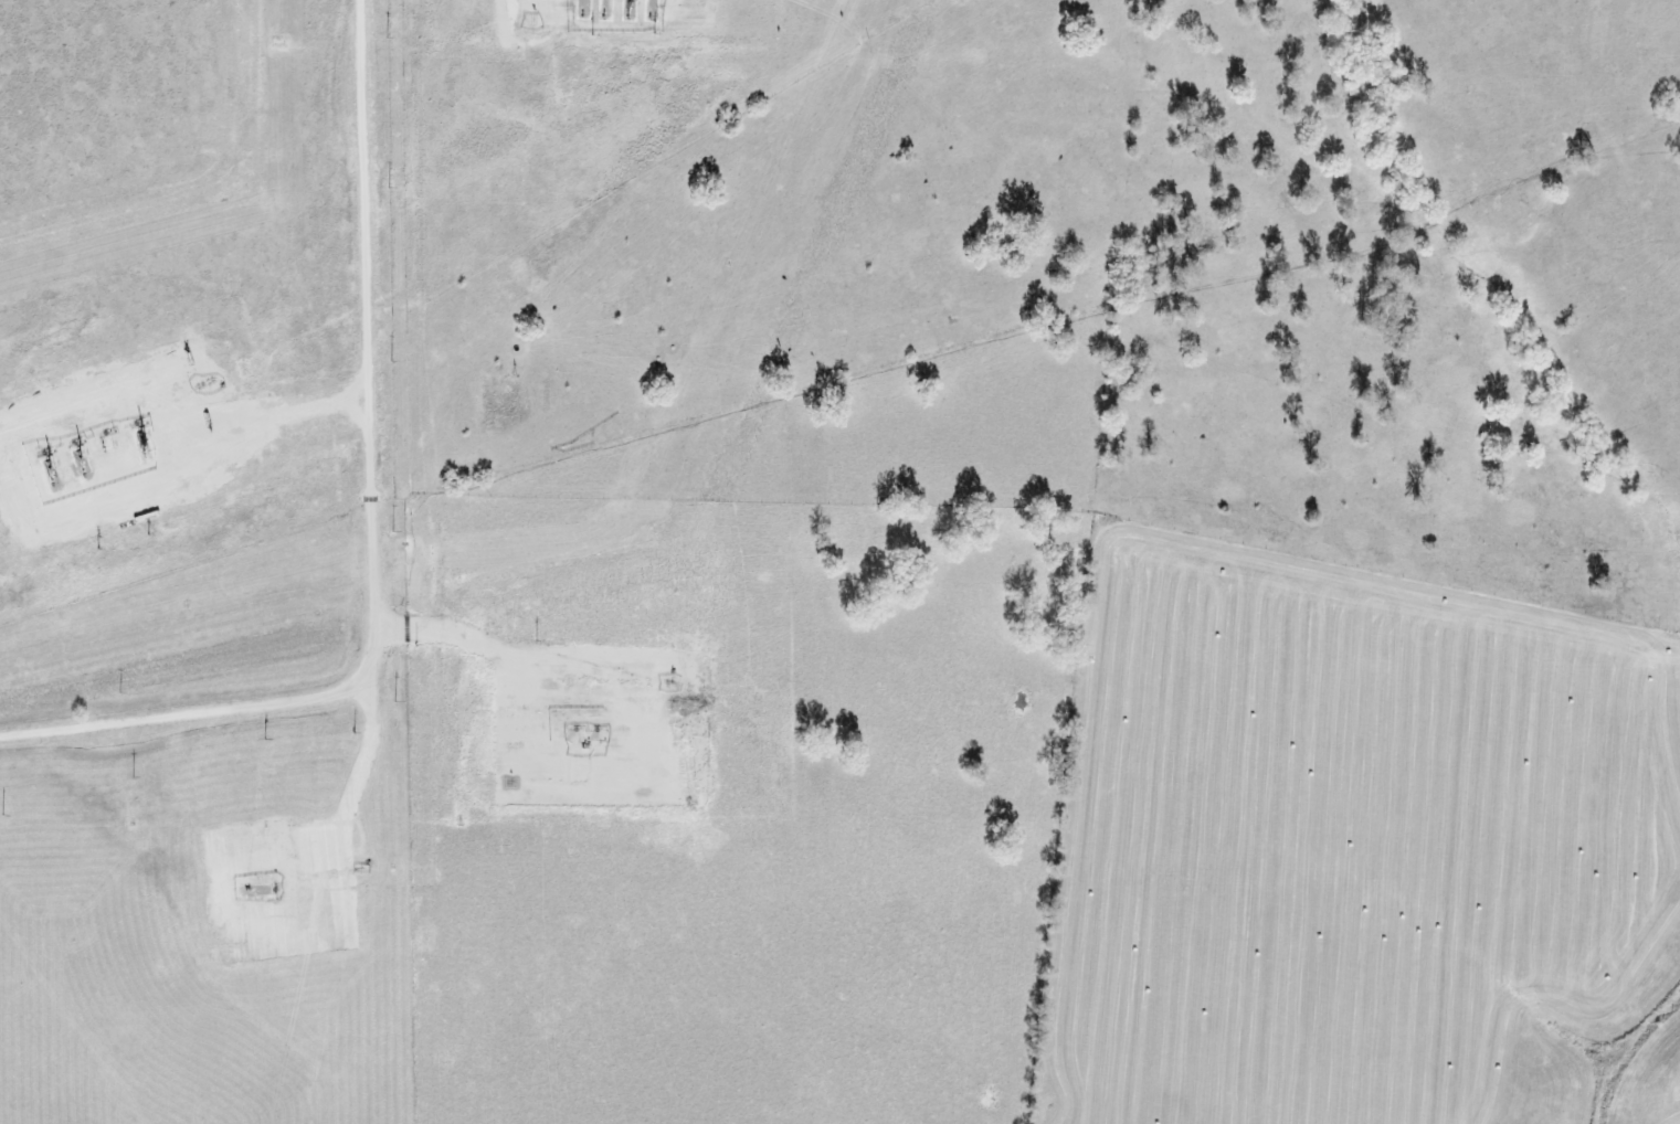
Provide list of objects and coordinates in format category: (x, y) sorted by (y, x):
road: (683, 9)
road: (170, 460)
road: (373, 522)
road: (560, 659)
road: (340, 802)

